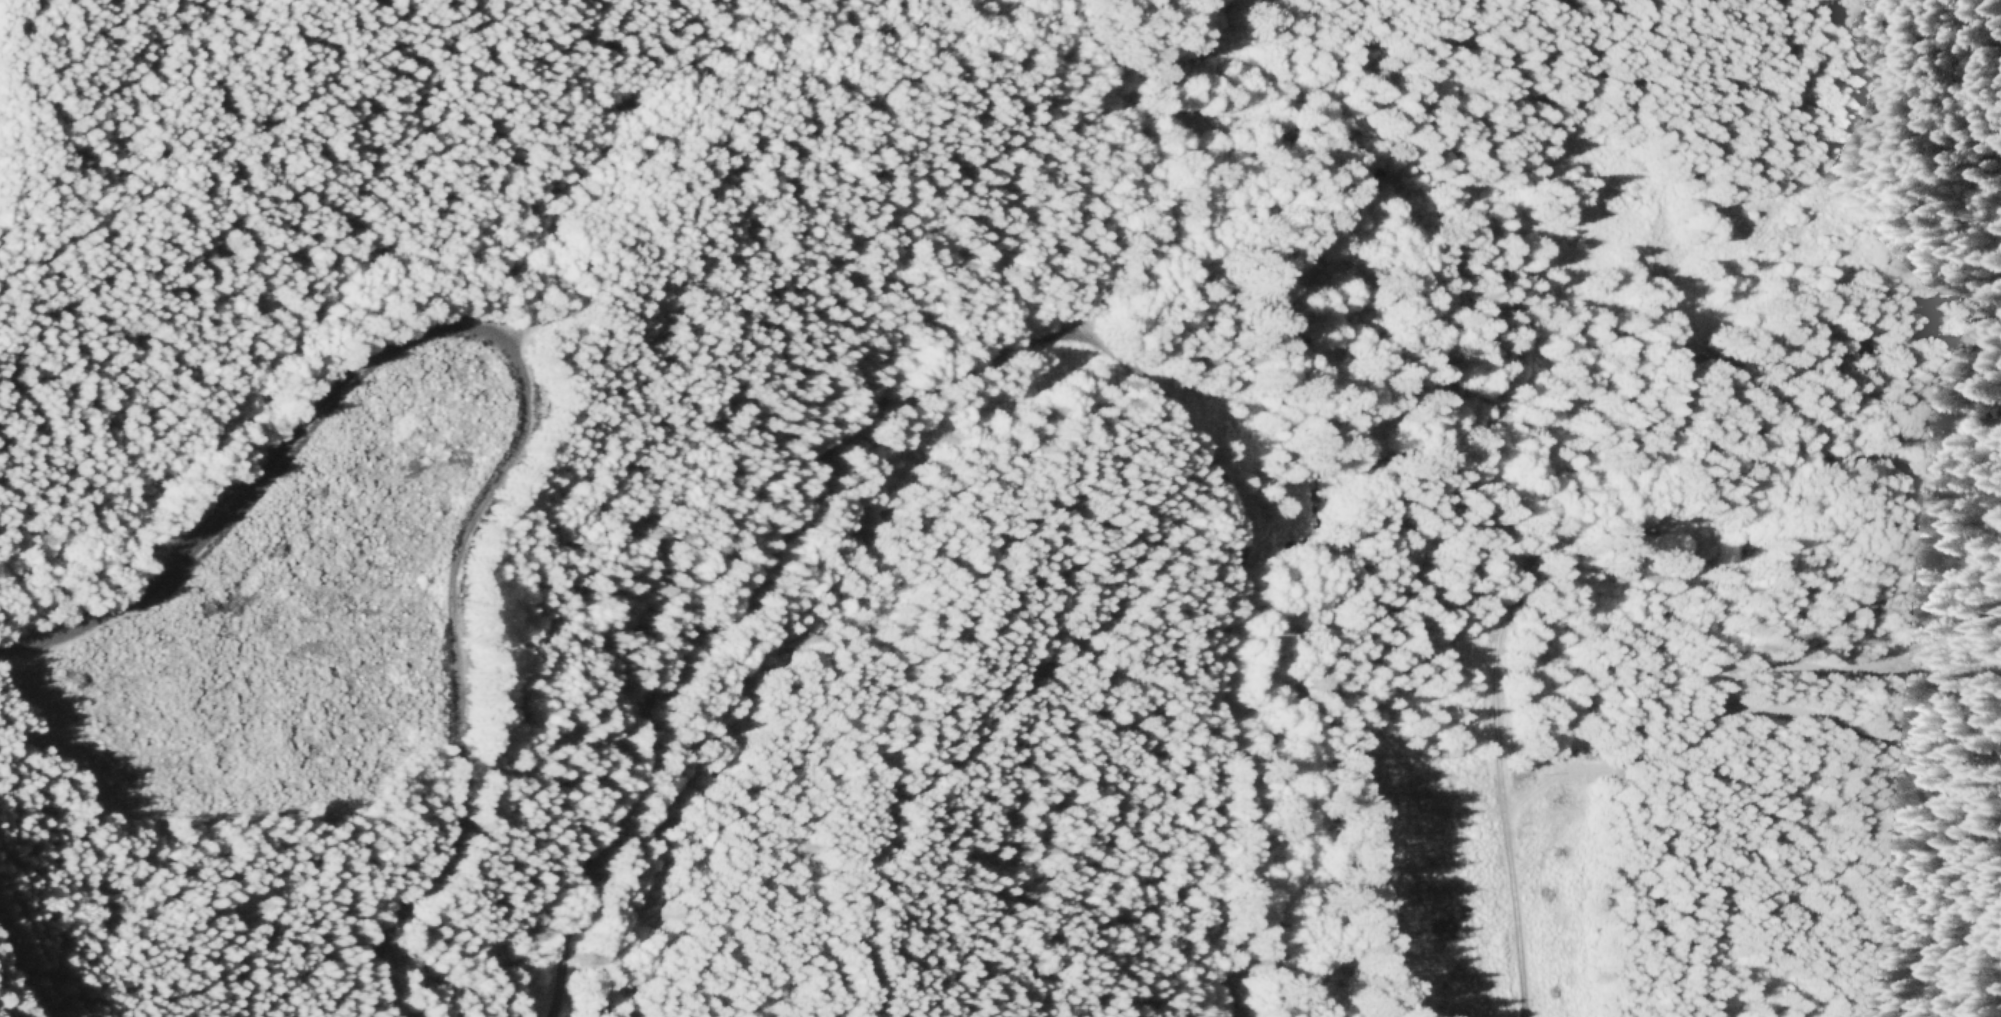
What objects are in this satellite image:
road: (1115, 174)
road: (1818, 355)
road: (527, 378)
road: (1512, 601)
road: (733, 608)
road: (1230, 639)
road: (1834, 664)
road: (1758, 709)
road: (989, 715)
road: (20, 974)

